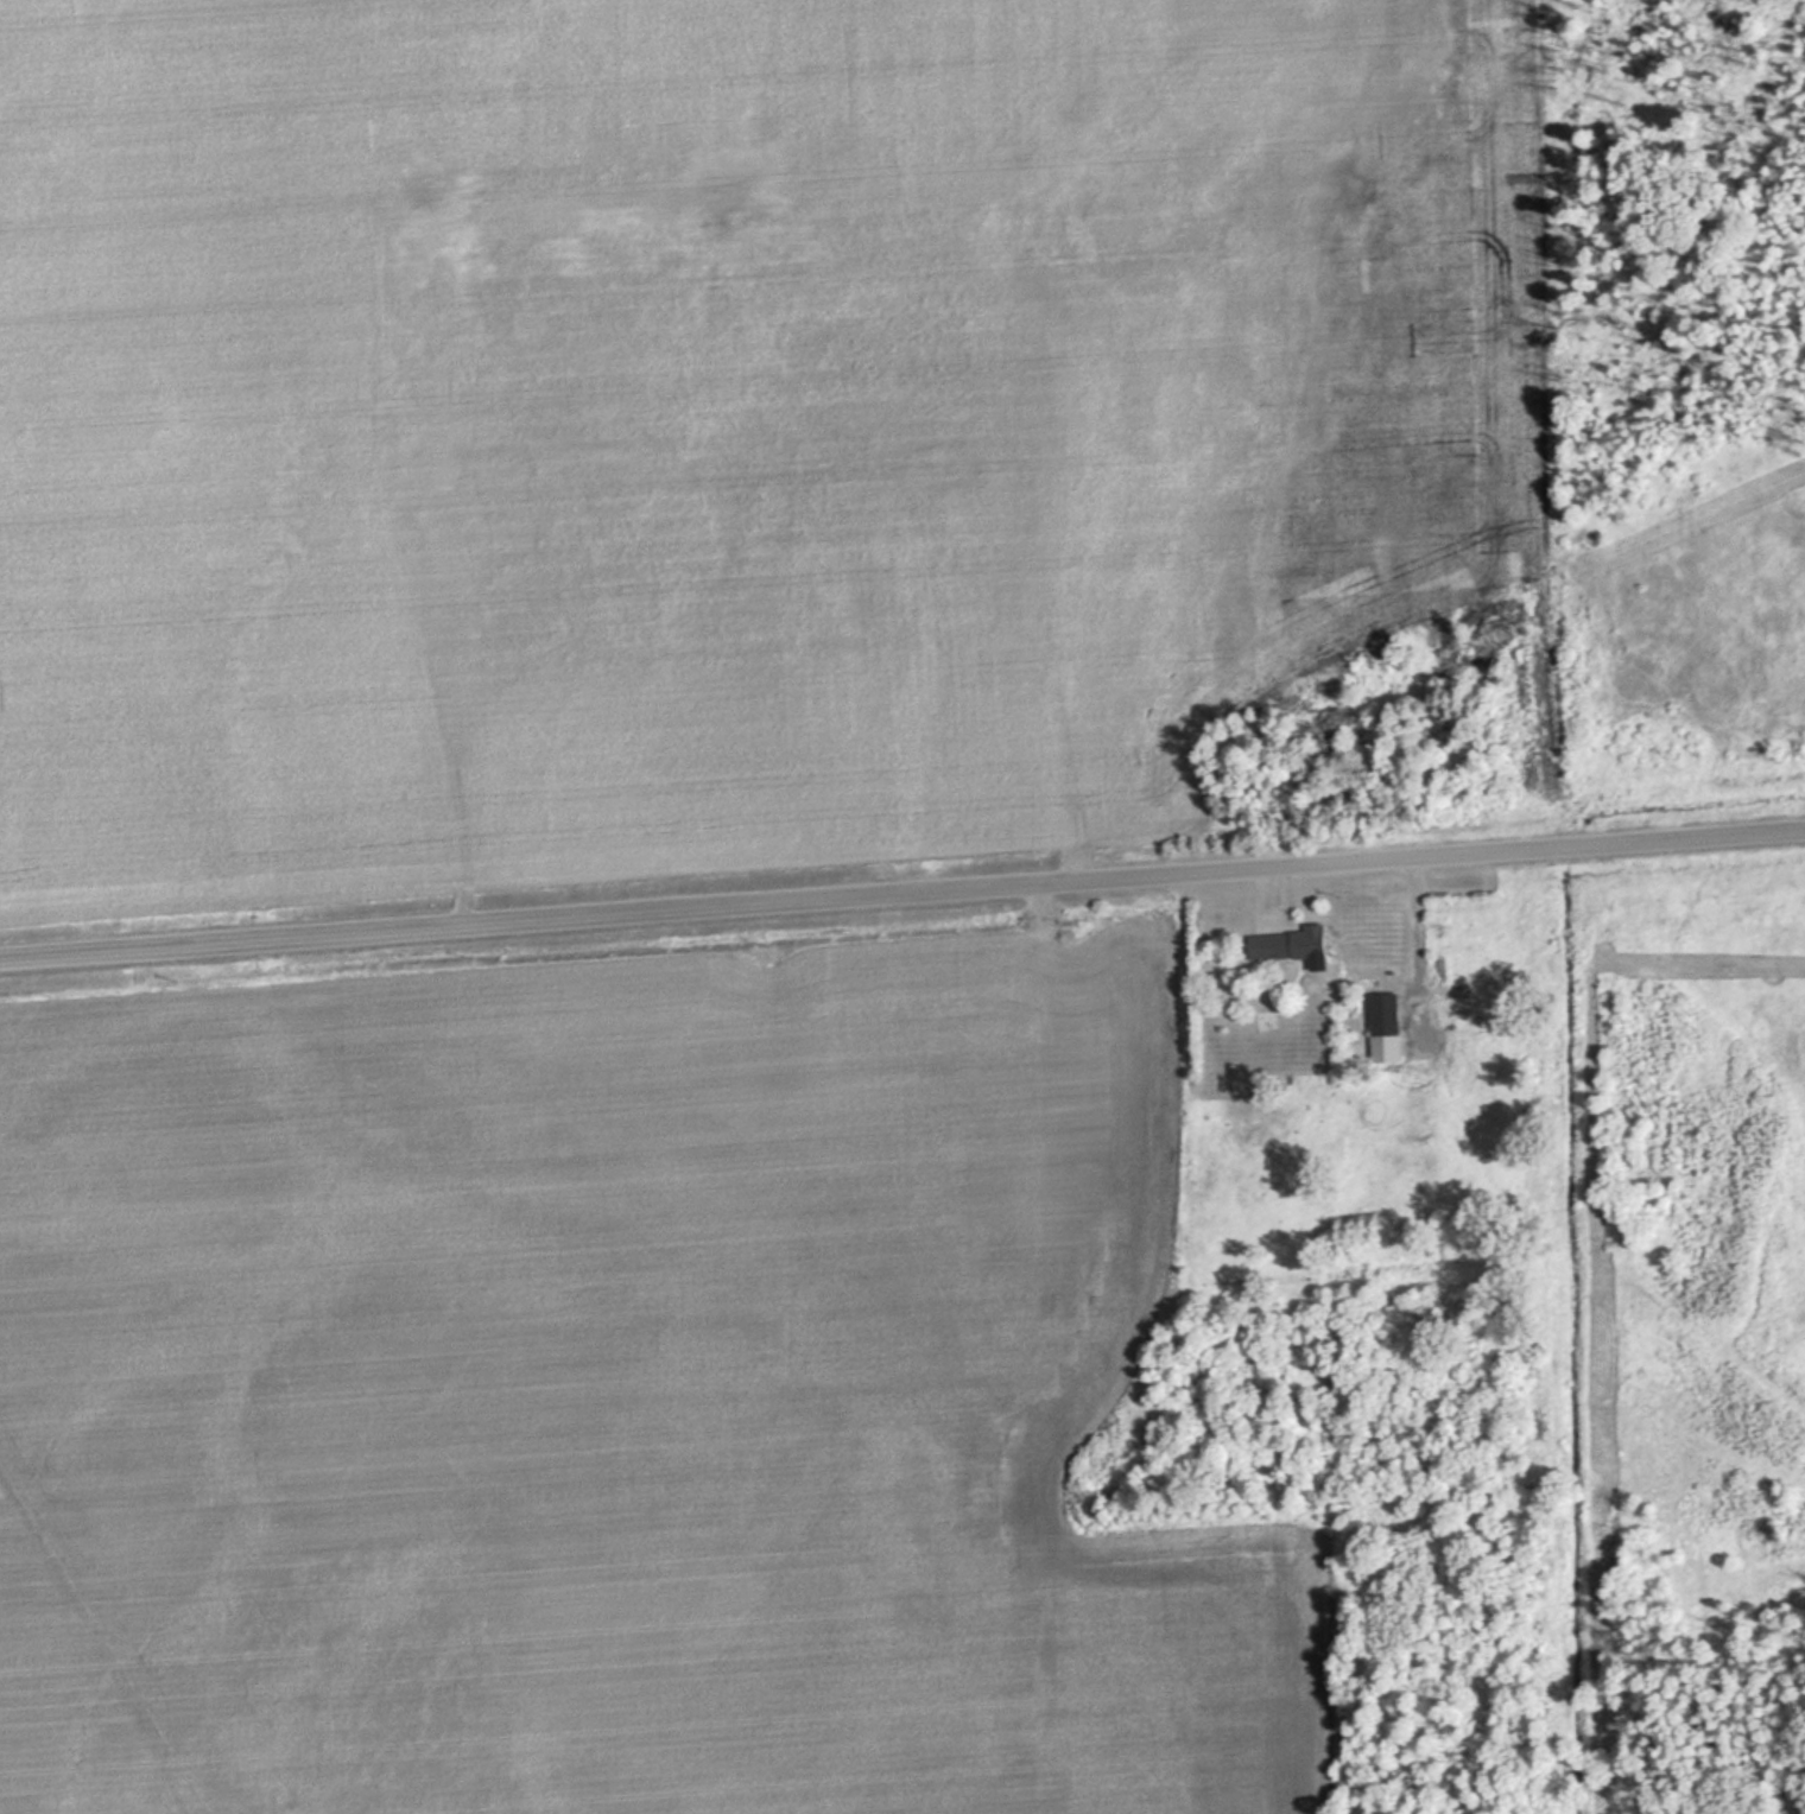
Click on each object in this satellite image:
road: (902, 898)
building: (1287, 945)
building: (1265, 1021)
building: (1383, 1028)

